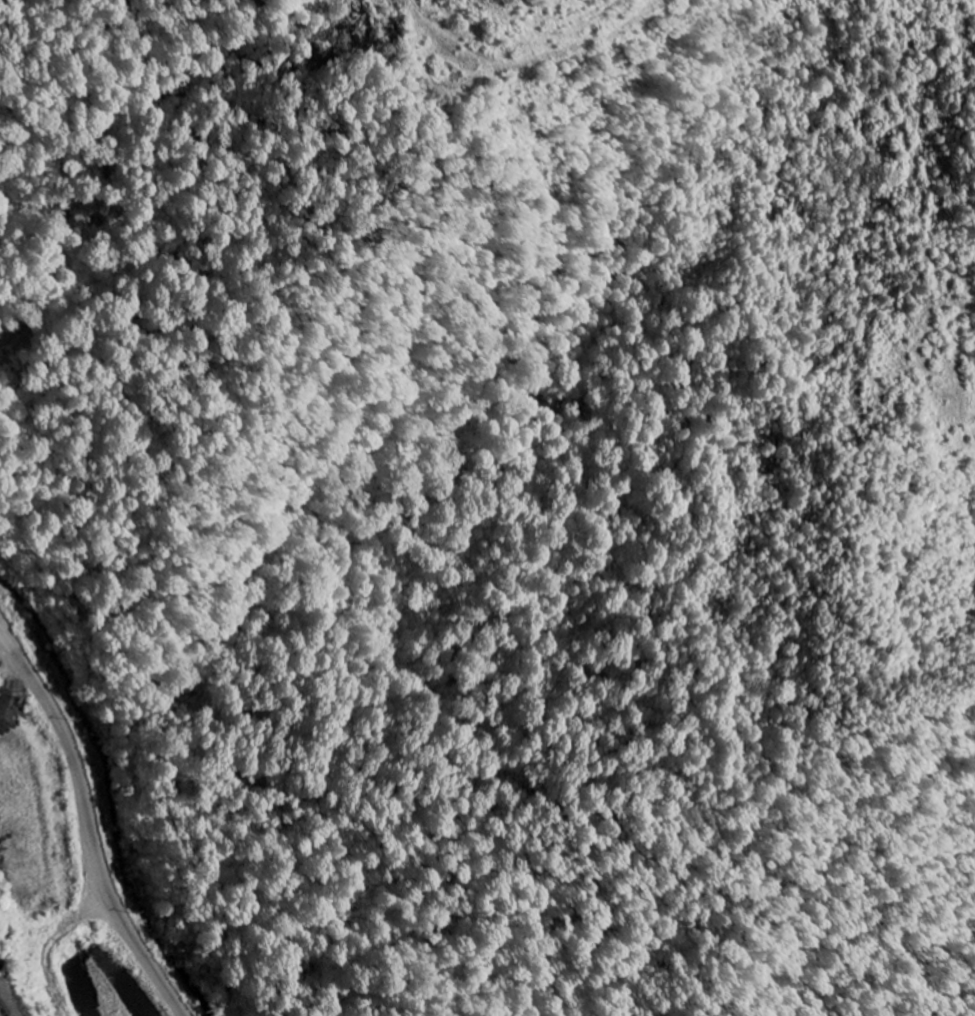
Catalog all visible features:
road: (39, 889)

